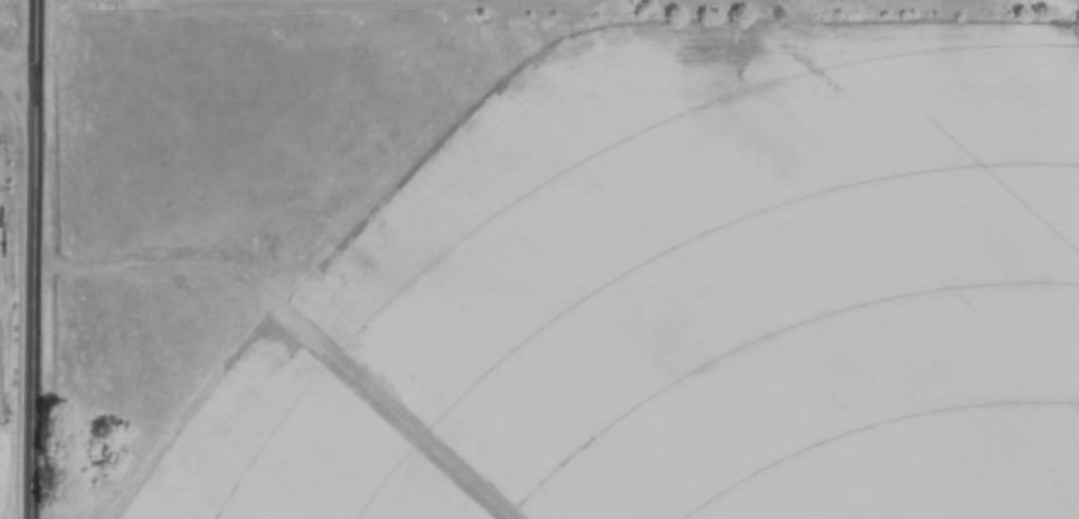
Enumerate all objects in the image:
road: (16, 78)
road: (34, 259)

